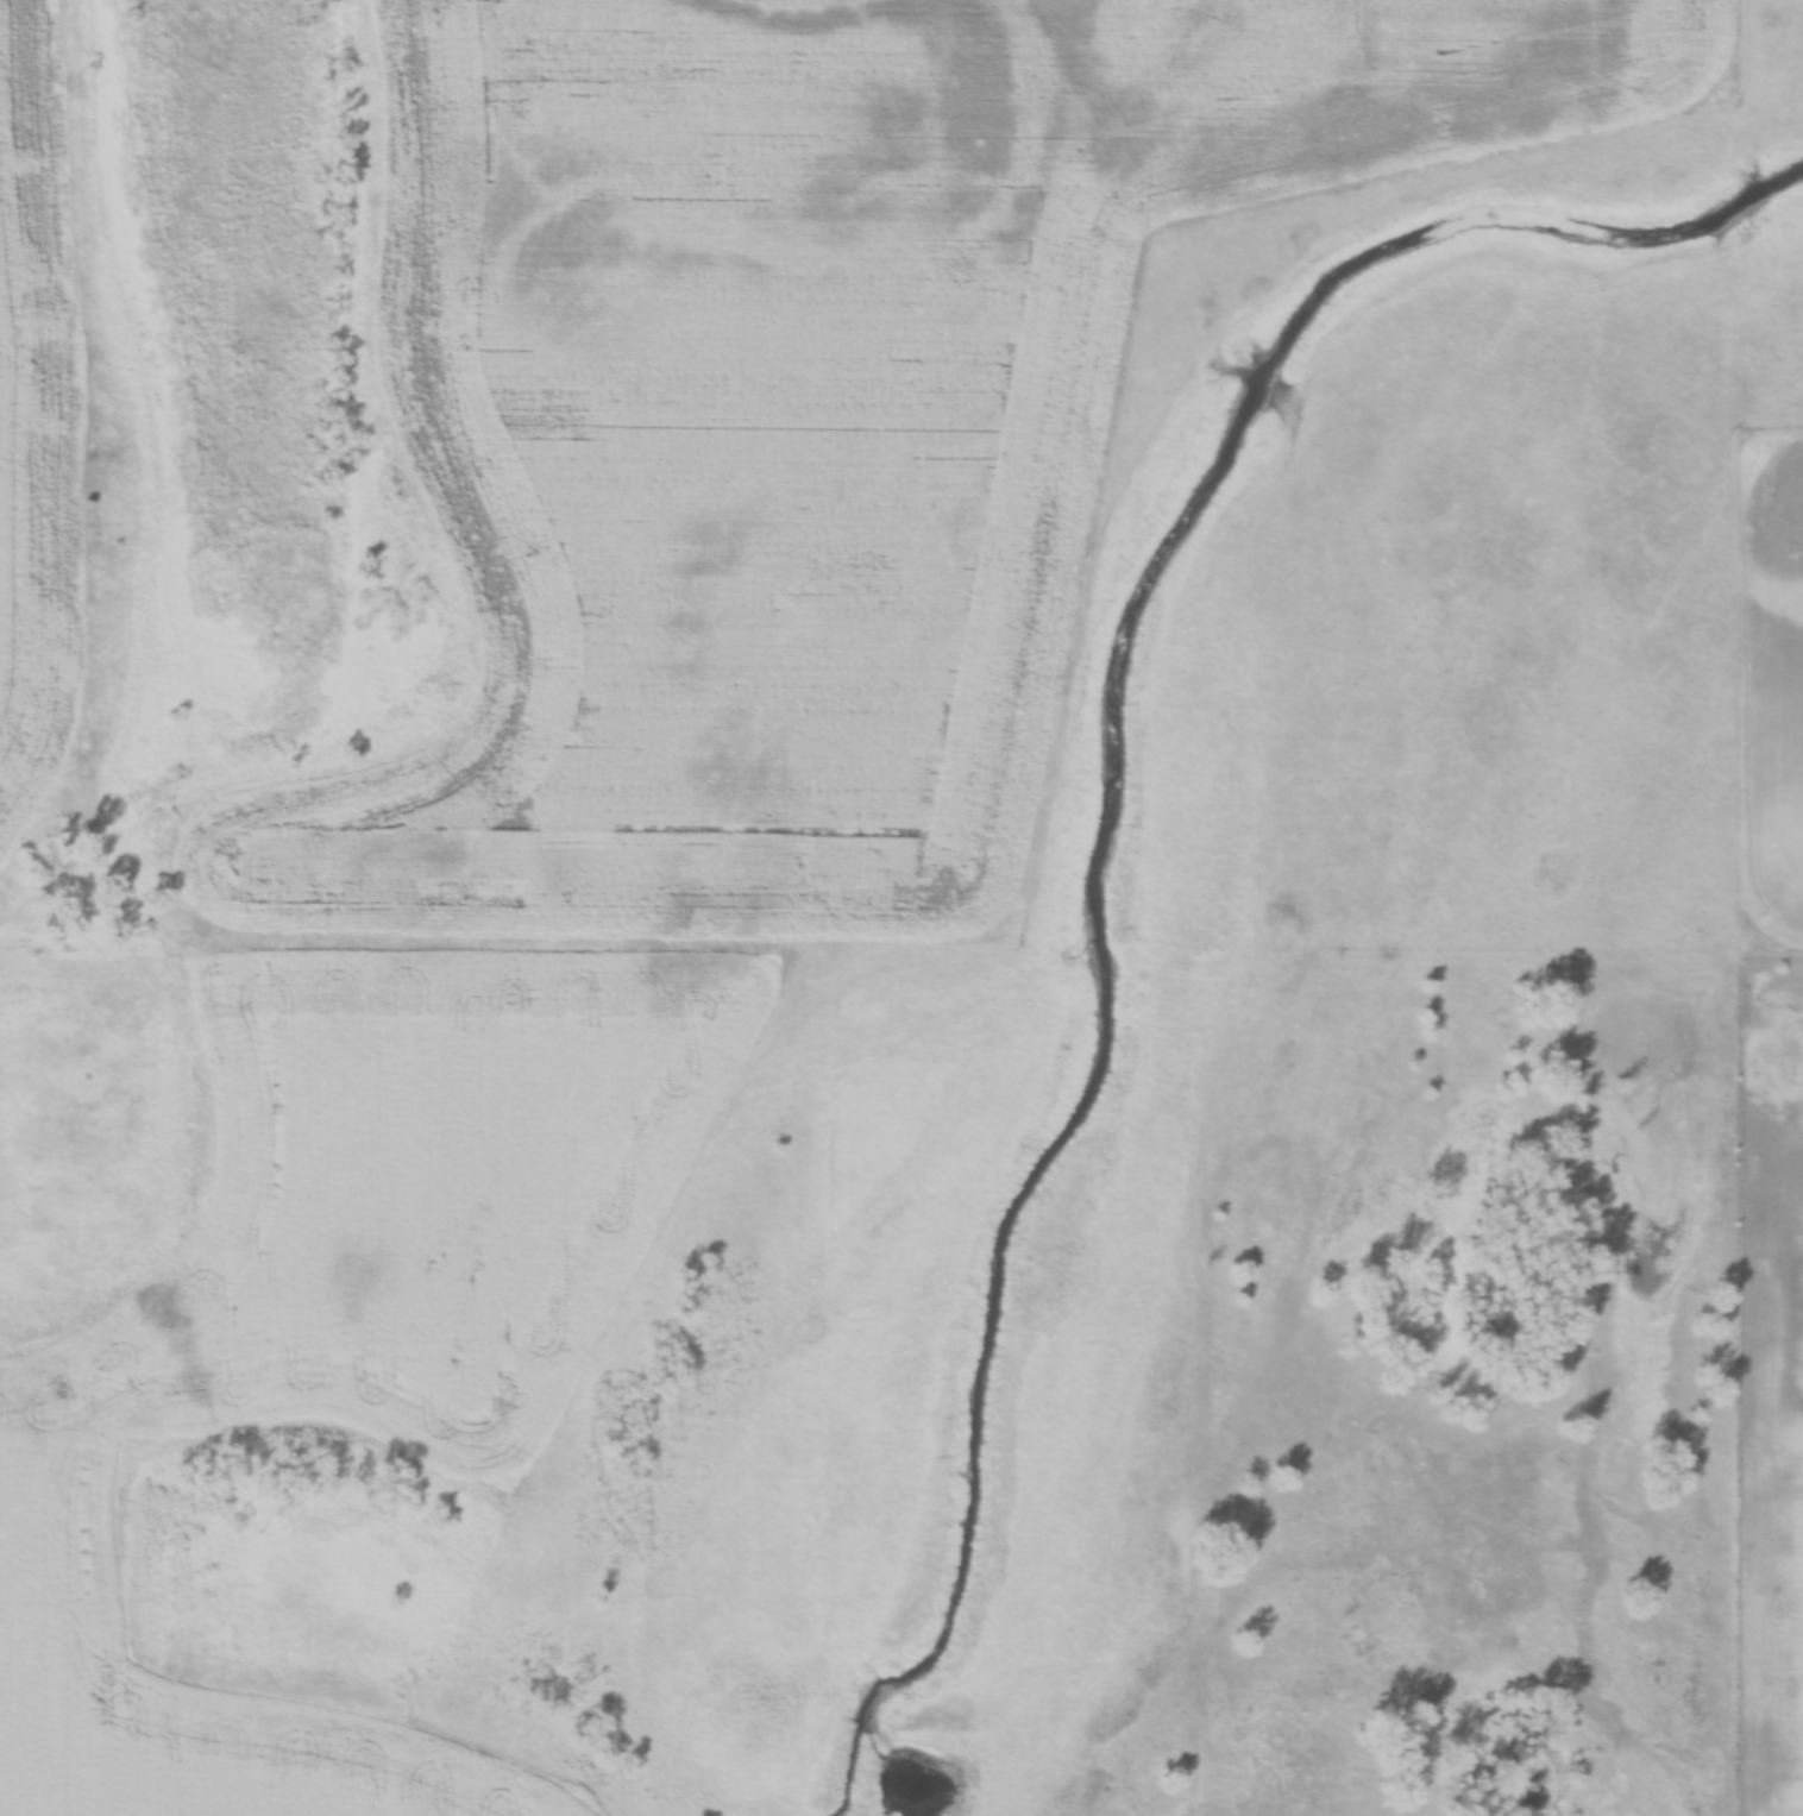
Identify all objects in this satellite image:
road: (1177, 1708)

